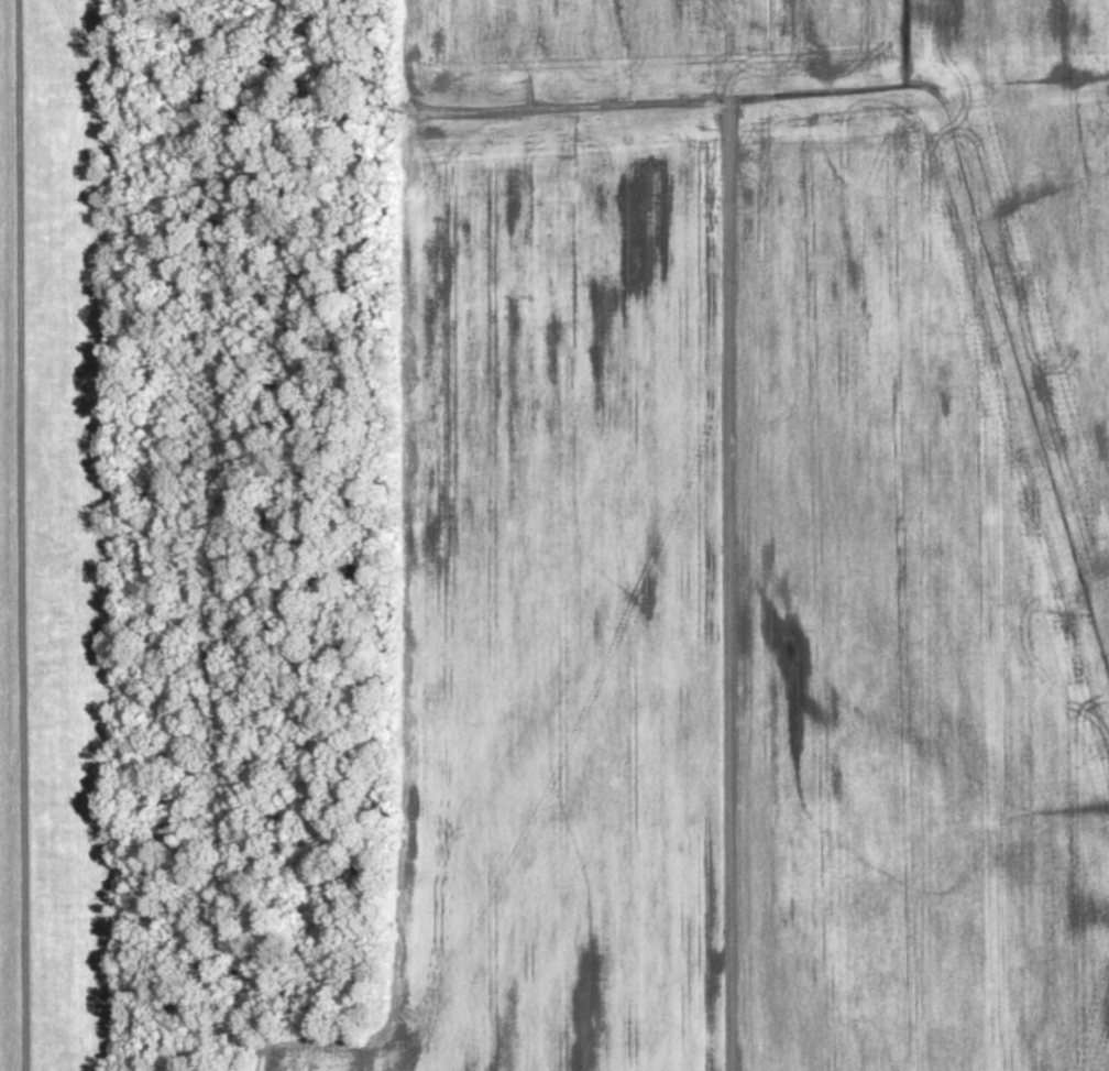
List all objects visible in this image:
road: (23, 535)

